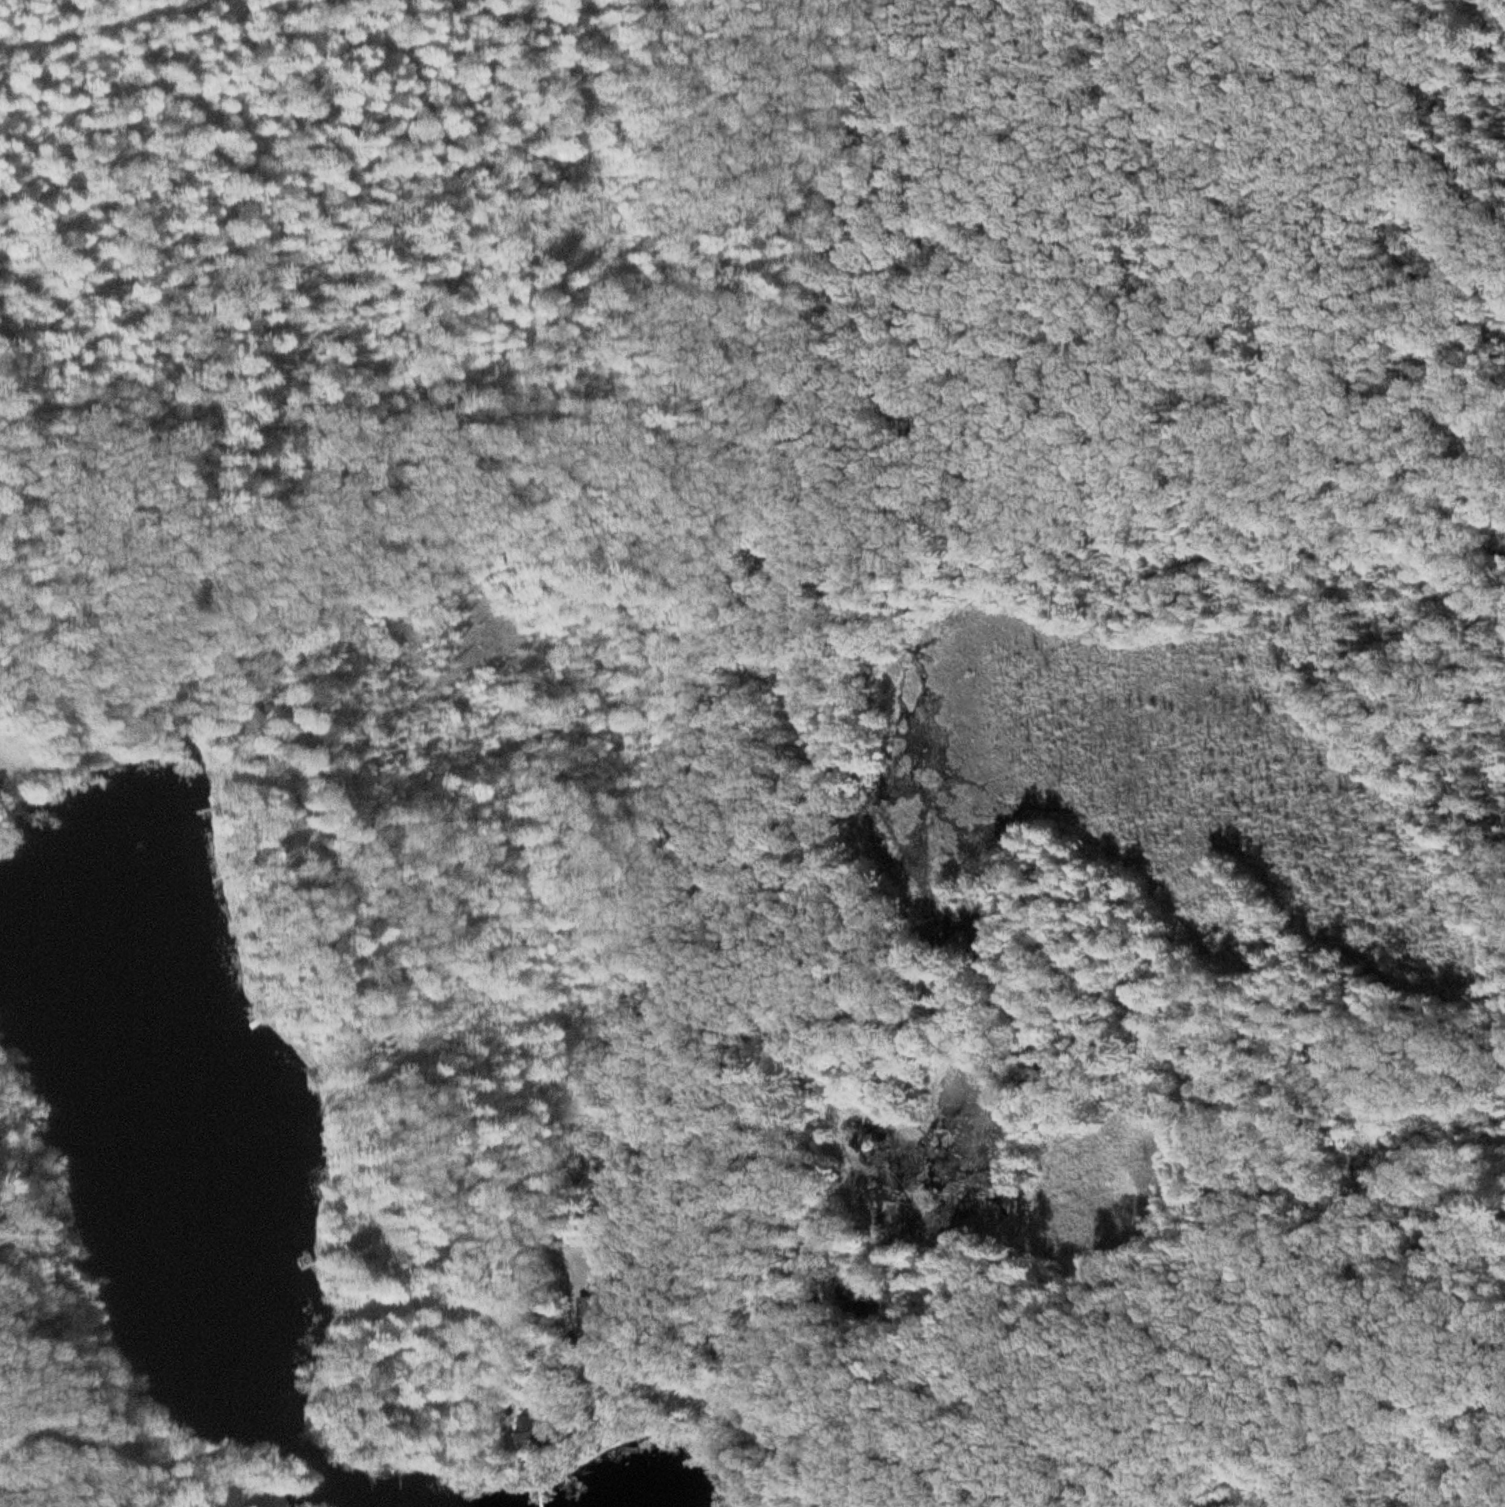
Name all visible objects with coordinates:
road: (94, 23)
road: (671, 539)
building: (2, 788)
road: (350, 861)
road: (439, 1139)
building: (362, 1252)
building: (550, 1429)
building: (256, 1504)

